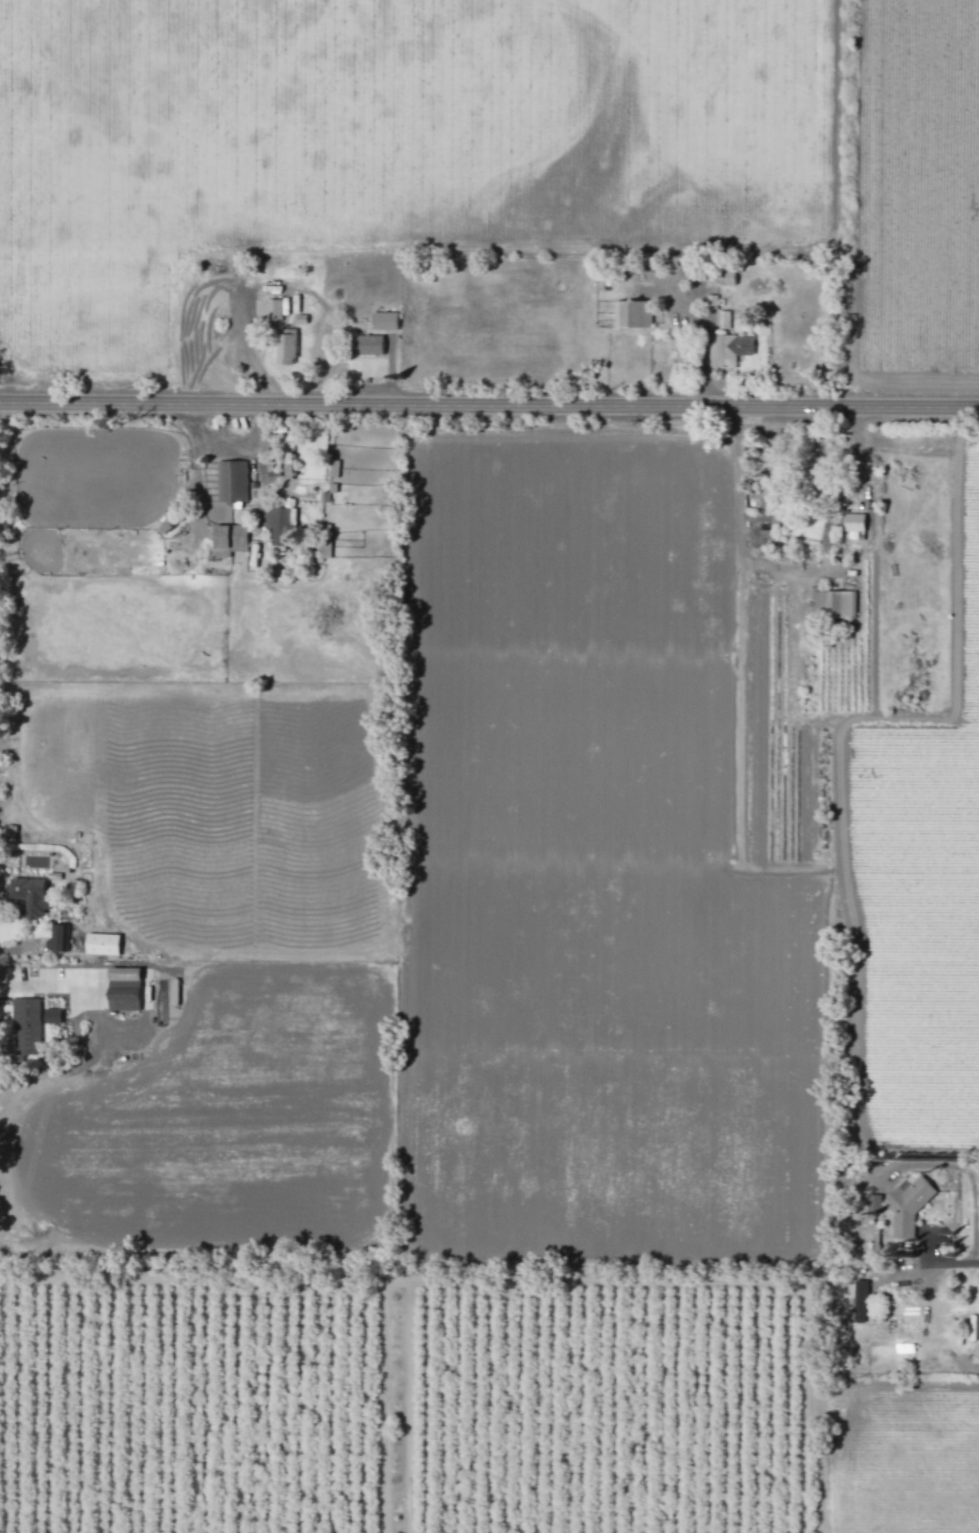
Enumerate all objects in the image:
building: (721, 277)
building: (274, 309)
building: (632, 314)
building: (723, 320)
building: (385, 321)
road: (702, 337)
road: (230, 345)
building: (367, 345)
building: (286, 346)
building: (728, 350)
road: (489, 403)
road: (205, 440)
building: (815, 474)
building: (232, 481)
road: (195, 491)
building: (854, 522)
building: (279, 525)
building: (229, 540)
road: (805, 569)
building: (834, 604)
building: (31, 896)
building: (58, 939)
building: (102, 944)
road: (49, 985)
building: (124, 989)
building: (26, 1026)
building: (873, 1204)
building: (907, 1204)
road: (943, 1262)
crop: (900, 1454)

